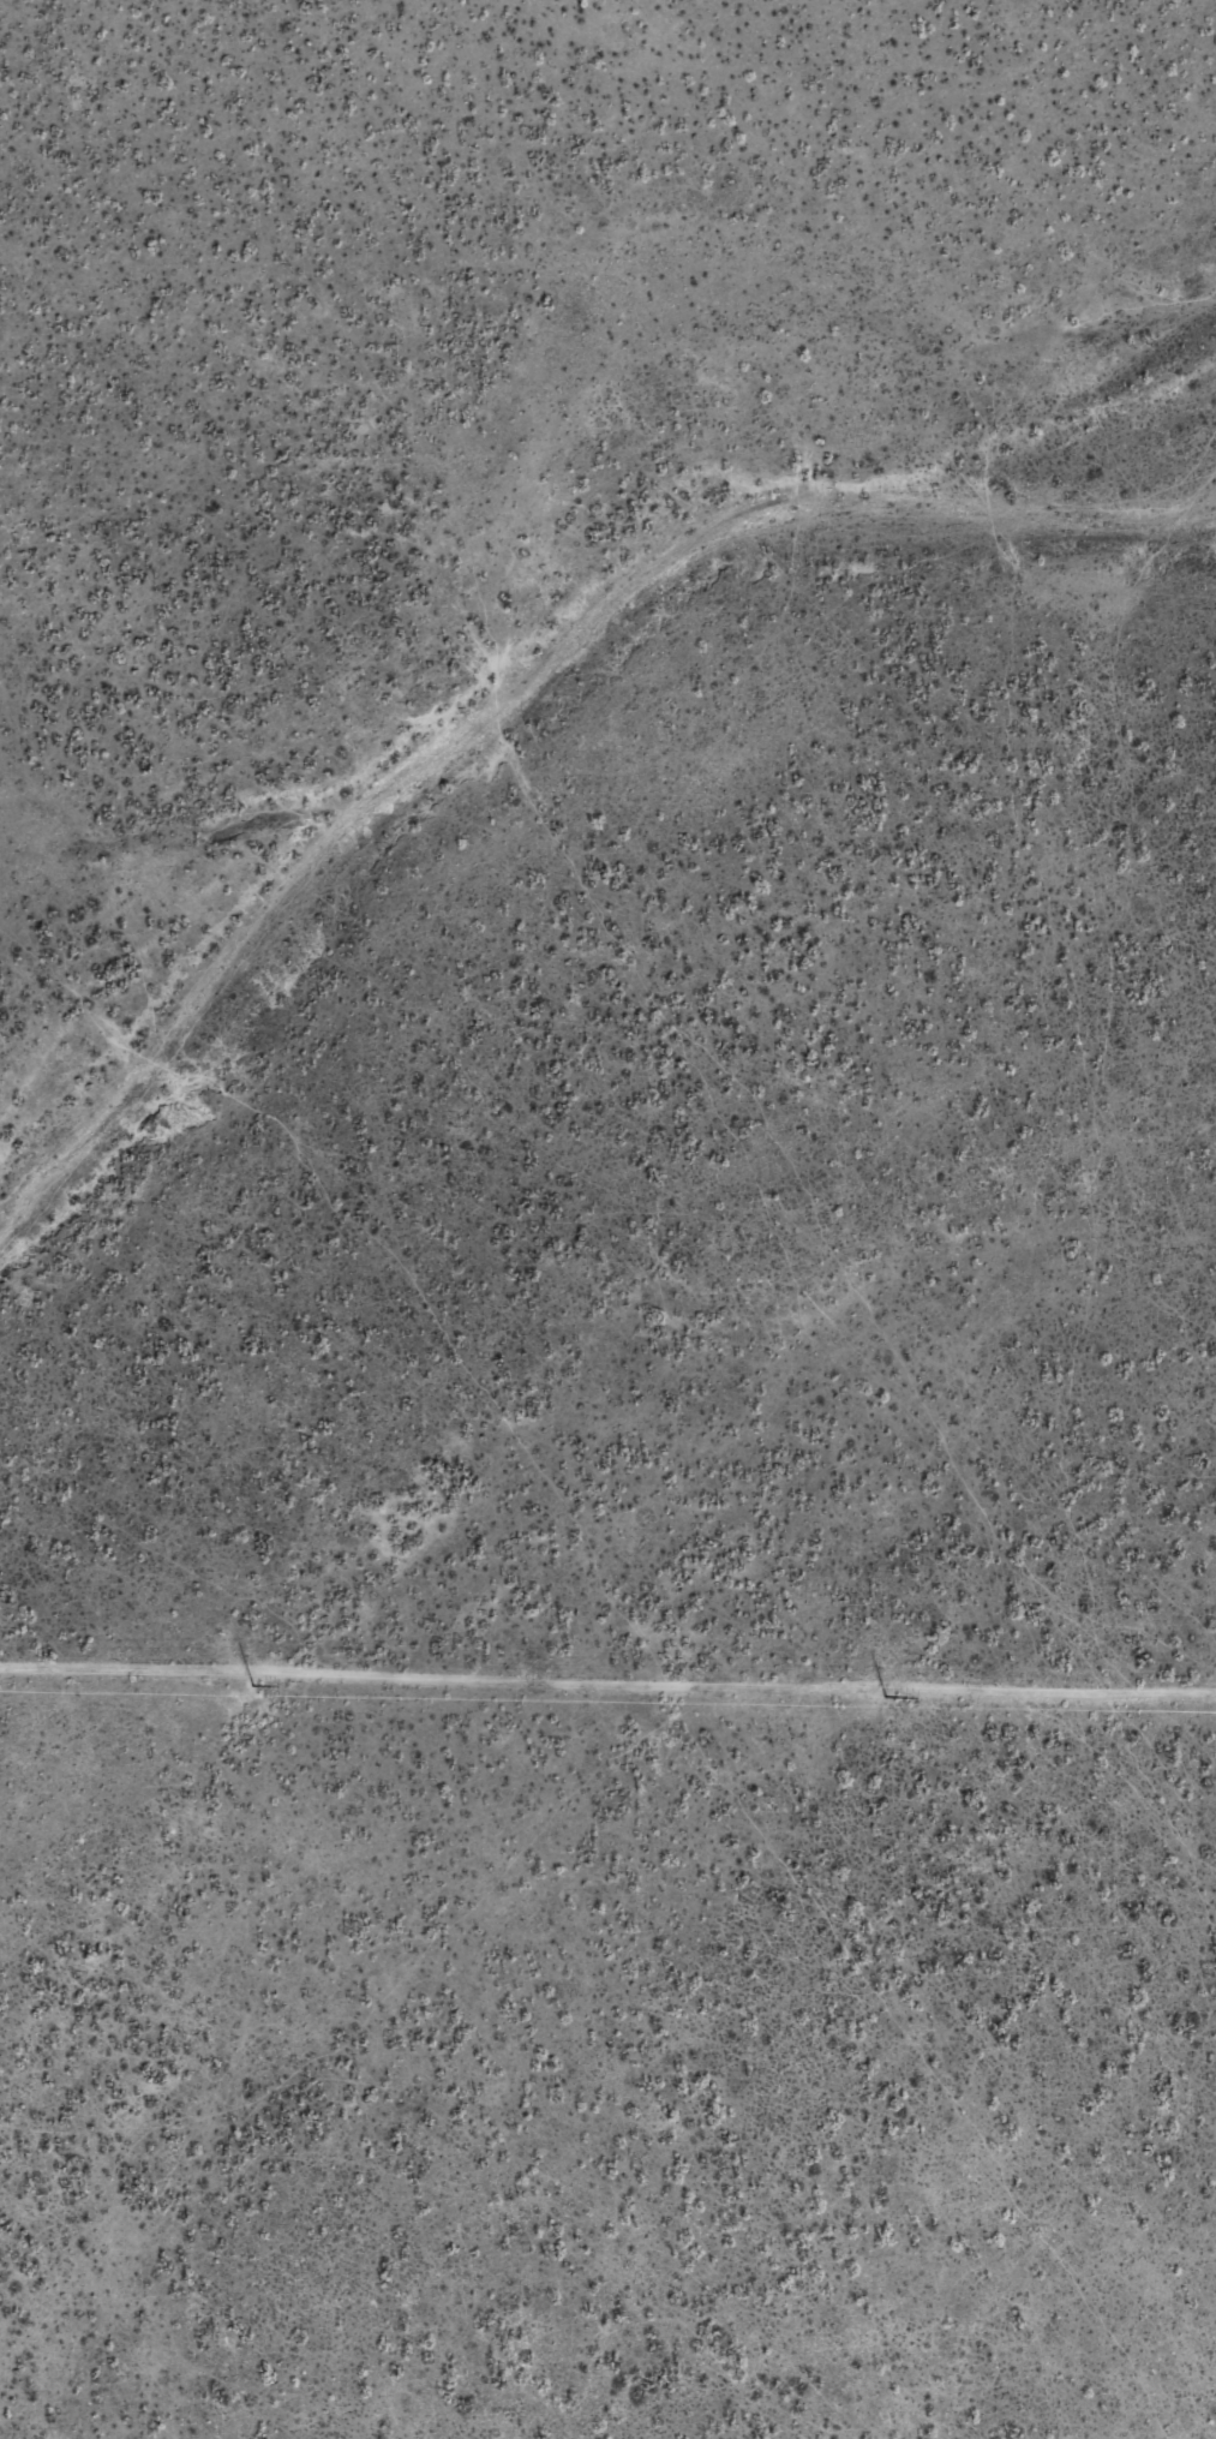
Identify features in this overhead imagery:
power tower: (250, 1684)
power tower: (882, 1694)

